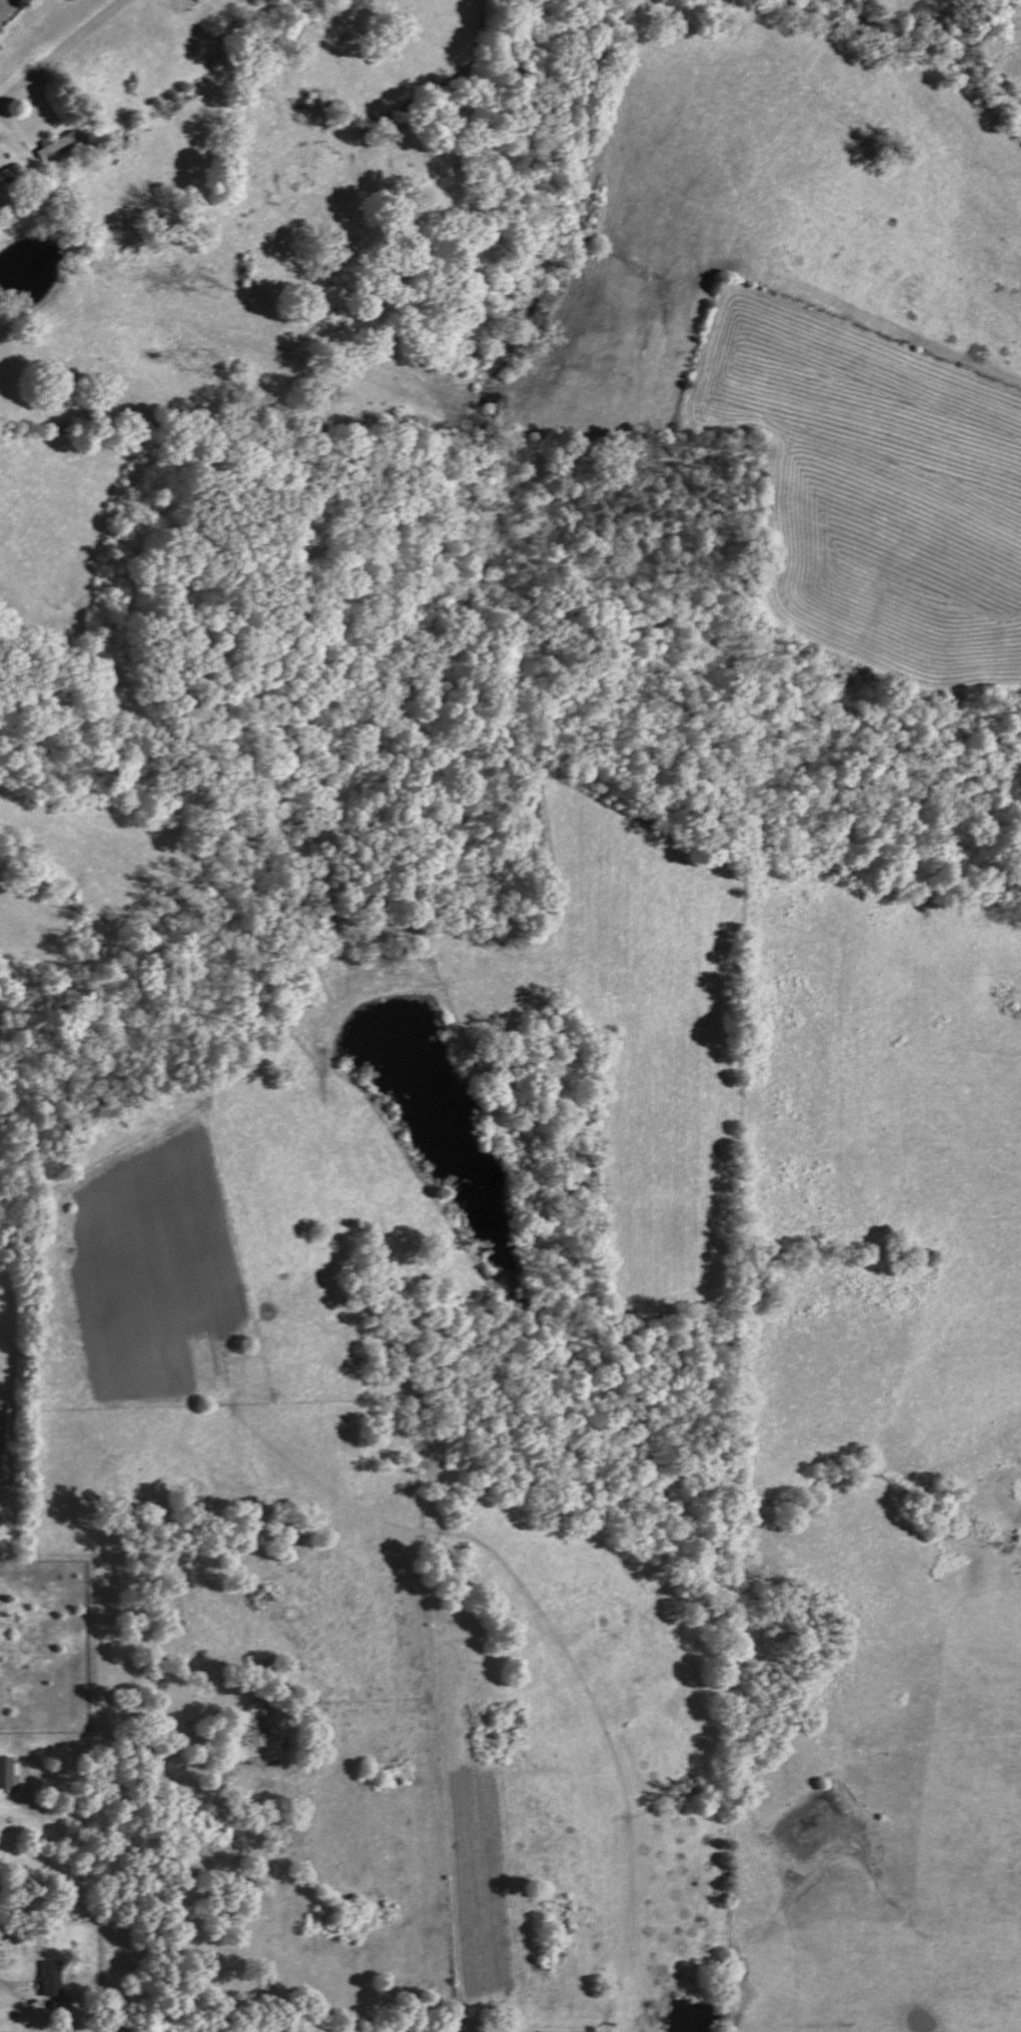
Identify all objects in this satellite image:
road: (59, 50)
building: (56, 143)
building: (8, 1775)
building: (50, 1978)
road: (10, 1988)

